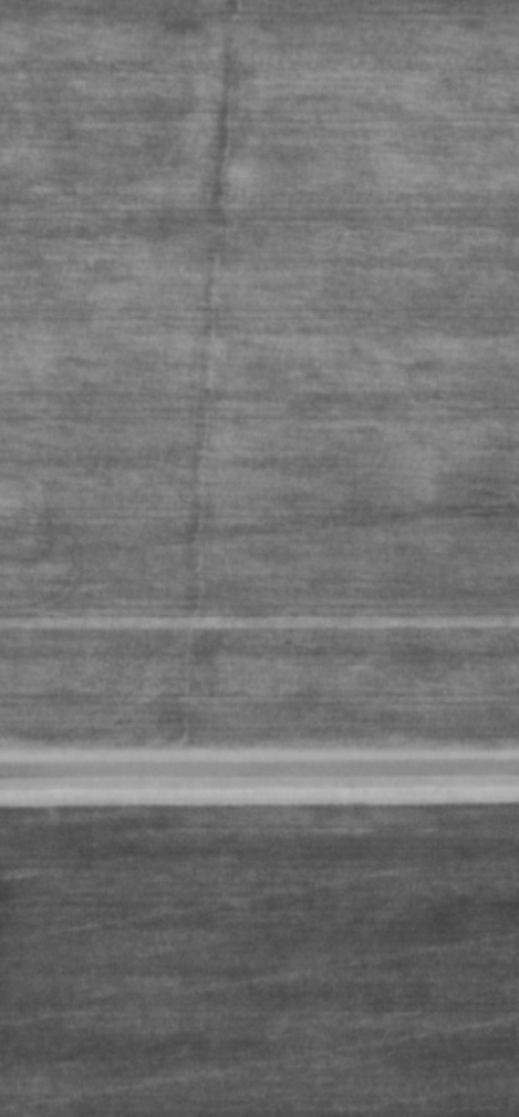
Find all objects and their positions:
road: (259, 767)

